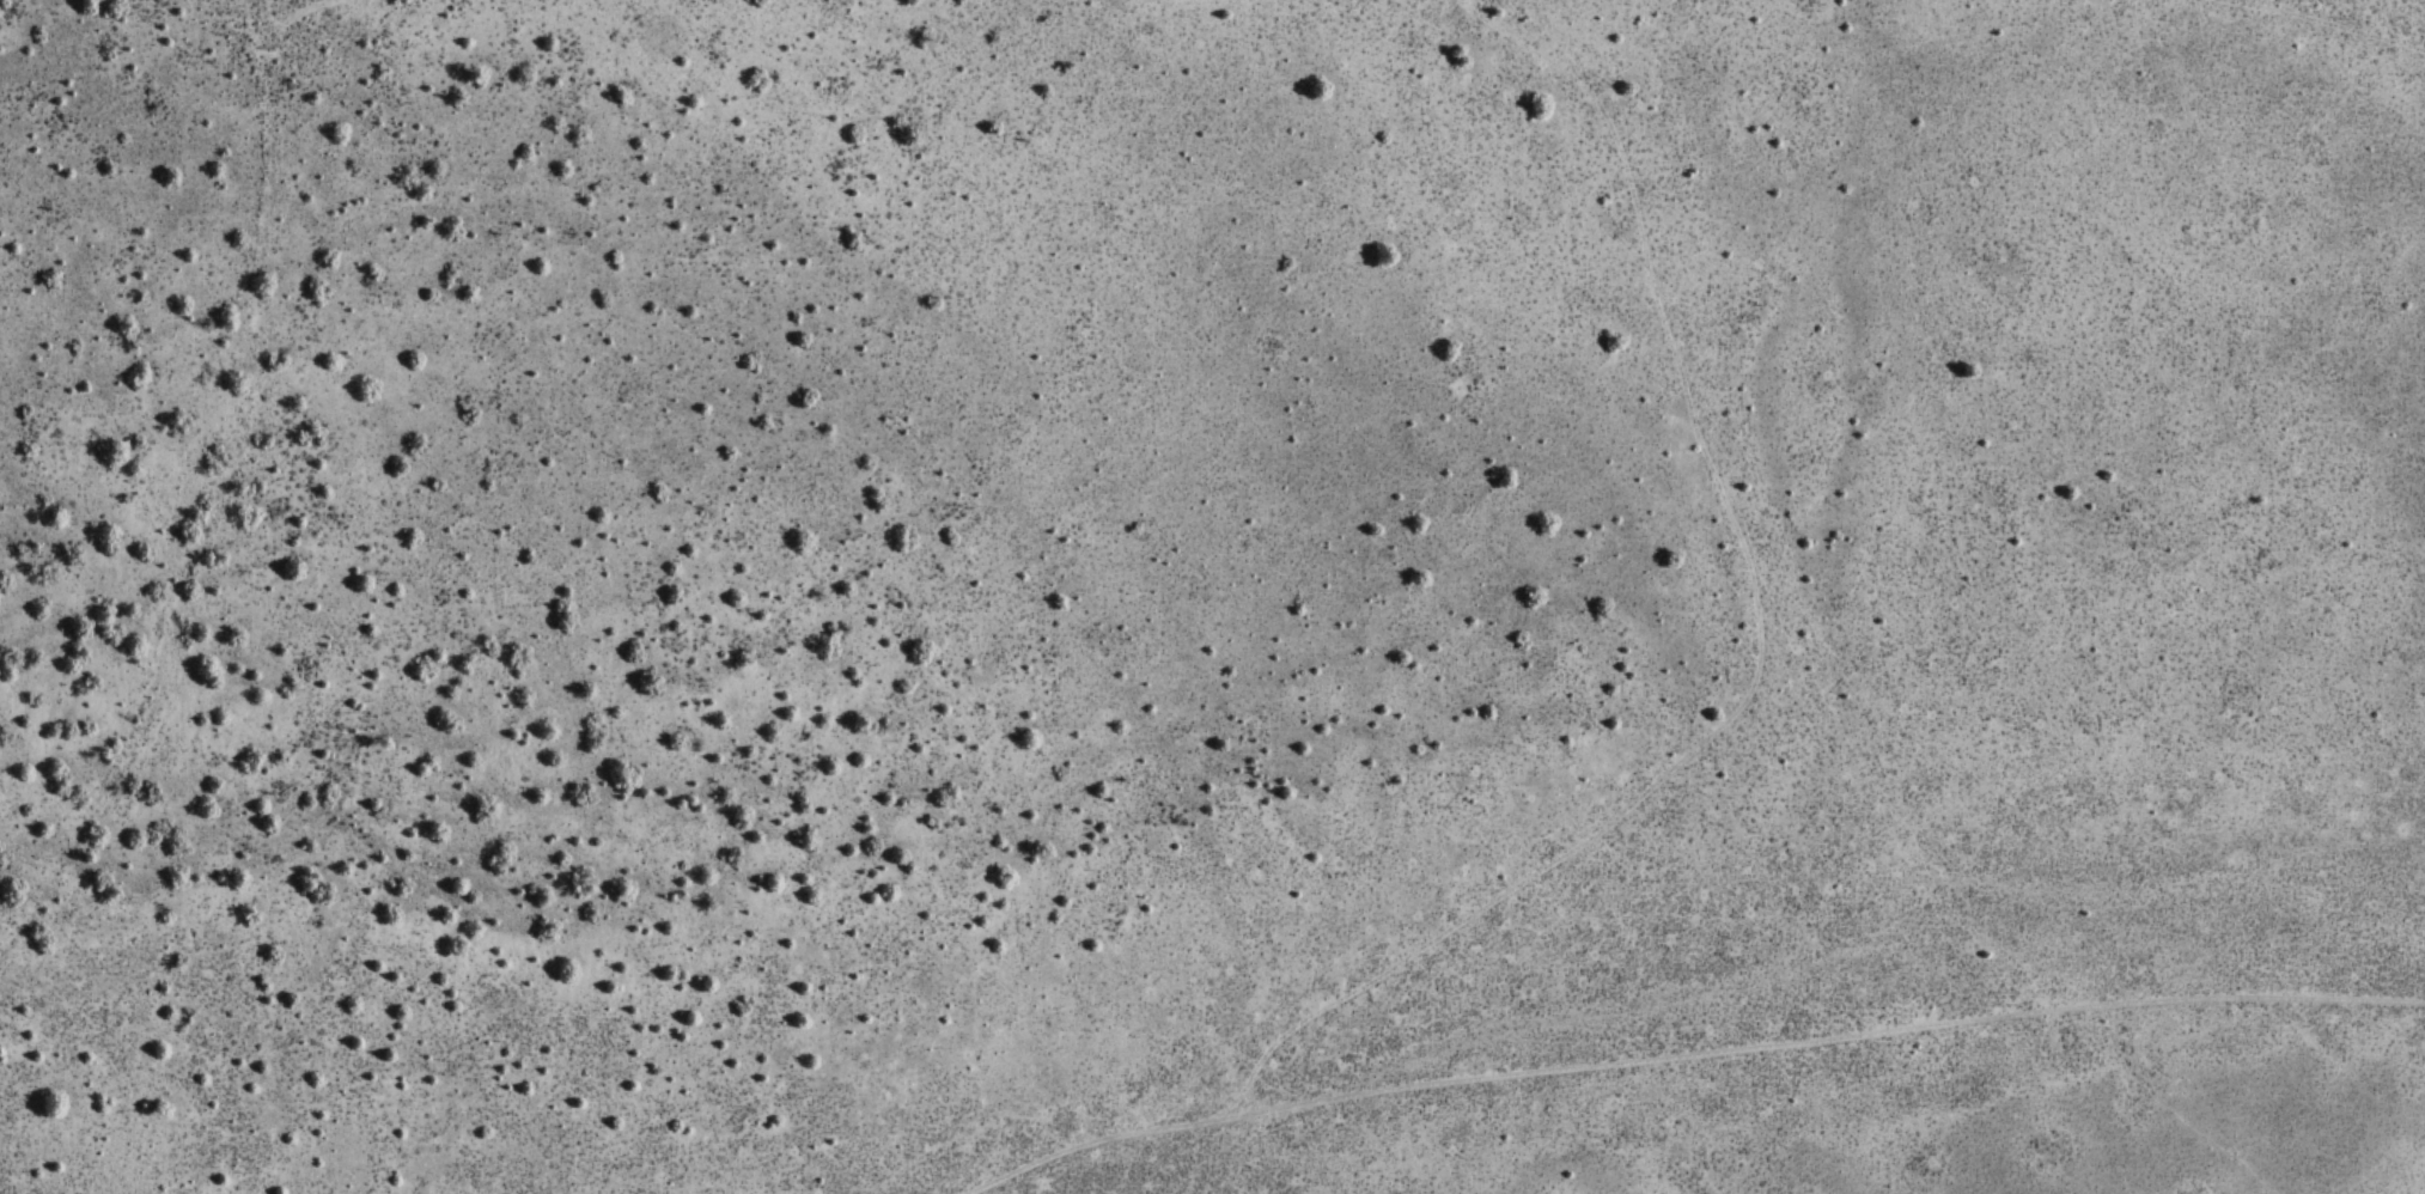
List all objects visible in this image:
road: (1787, 1031)

